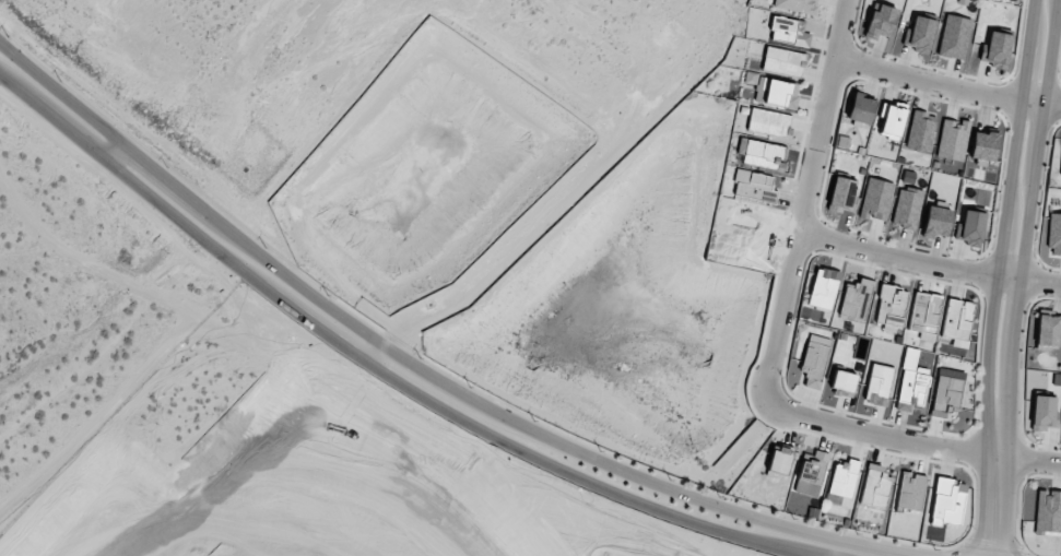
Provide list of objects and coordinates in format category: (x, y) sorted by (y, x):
building: (795, 5)
building: (881, 21)
building: (788, 32)
building: (919, 34)
building: (954, 37)
building: (995, 49)
building: (782, 61)
road: (947, 84)
building: (780, 94)
building: (860, 108)
building: (891, 120)
building: (768, 122)
building: (920, 130)
building: (952, 139)
building: (983, 143)
road: (114, 151)
building: (762, 154)
building: (754, 186)
building: (842, 194)
road: (806, 199)
building: (876, 199)
building: (906, 208)
road: (1005, 211)
road: (1028, 212)
building: (935, 222)
building: (970, 227)
building: (1054, 234)
road: (929, 262)
road: (498, 277)
building: (823, 287)
building: (856, 299)
building: (891, 308)
building: (924, 311)
building: (957, 321)
building: (1048, 330)
road: (374, 352)
building: (814, 364)
road: (422, 368)
road: (380, 370)
building: (842, 380)
building: (879, 385)
building: (911, 389)
building: (946, 392)
building: (1044, 412)
road: (911, 441)
building: (779, 460)
building: (813, 468)
building: (844, 478)
building: (875, 486)
road: (995, 489)
building: (910, 490)
building: (947, 501)
building: (1048, 511)

